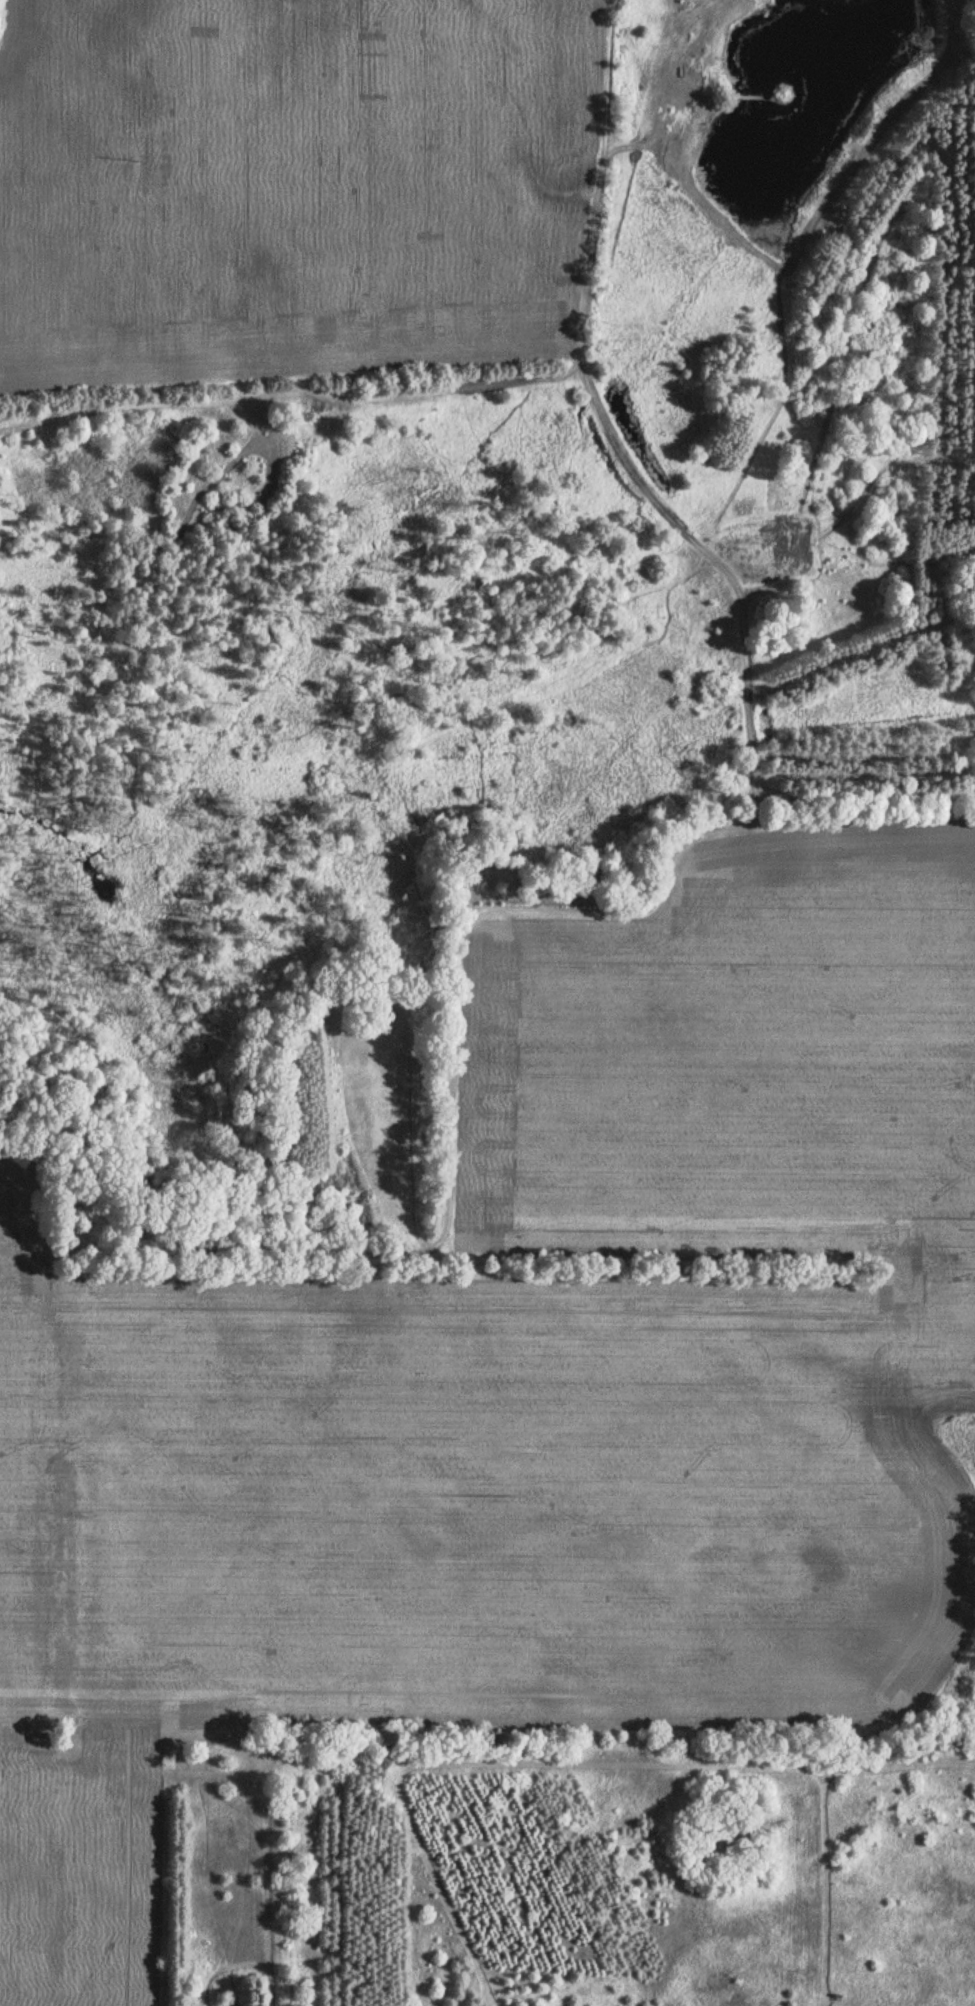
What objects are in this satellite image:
power tower: (129, 170)

